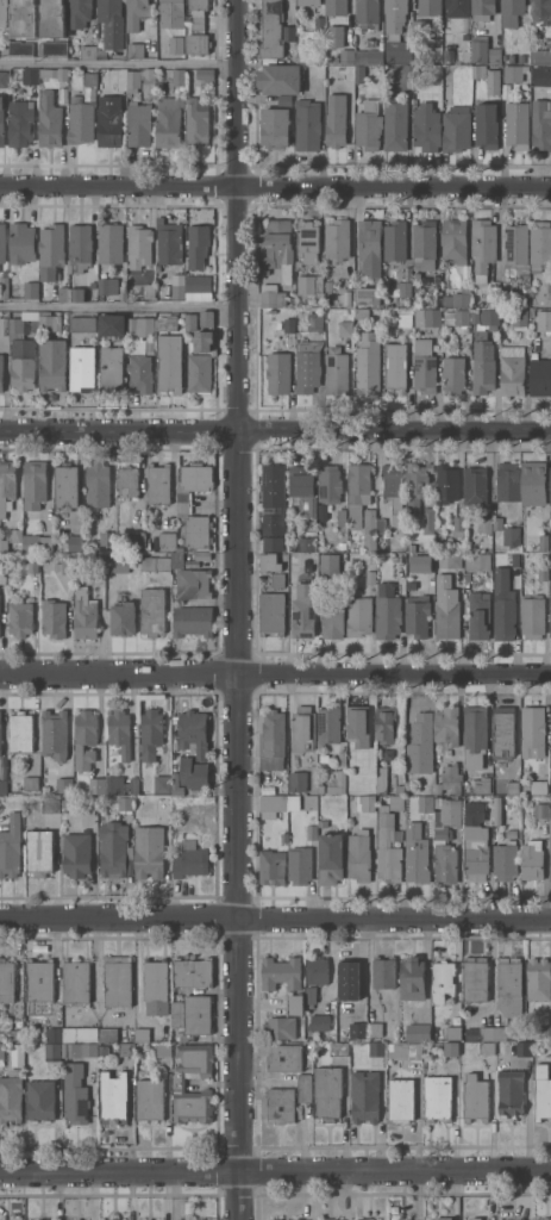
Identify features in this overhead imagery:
building: (309, 2)
building: (336, 6)
building: (430, 7)
building: (458, 7)
building: (483, 8)
building: (198, 11)
building: (540, 11)
building: (4, 12)
building: (512, 12)
building: (80, 13)
building: (137, 13)
building: (171, 13)
building: (368, 14)
building: (24, 18)
building: (52, 18)
building: (112, 23)
building: (320, 24)
building: (198, 26)
building: (271, 29)
building: (422, 29)
building: (396, 32)
building: (336, 36)
building: (199, 43)
building: (176, 45)
building: (20, 48)
building: (54, 48)
building: (480, 49)
building: (136, 50)
building: (89, 51)
building: (419, 52)
building: (101, 54)
building: (495, 55)
building: (347, 56)
building: (375, 56)
building: (449, 56)
building: (540, 56)
building: (513, 58)
road: (119, 66)
building: (478, 71)
building: (550, 71)
building: (54, 73)
building: (513, 73)
building: (31, 76)
building: (206, 76)
building: (179, 77)
building: (4, 79)
building: (281, 79)
building: (133, 81)
building: (494, 81)
building: (284, 100)
building: (83, 111)
building: (476, 114)
building: (50, 120)
building: (337, 120)
building: (1, 122)
building: (109, 122)
building: (169, 122)
building: (198, 122)
building: (21, 123)
building: (139, 124)
building: (307, 124)
building: (541, 124)
building: (395, 125)
building: (487, 125)
building: (518, 125)
building: (276, 127)
building: (427, 127)
building: (457, 127)
building: (368, 129)
road: (275, 187)
building: (308, 236)
building: (338, 238)
building: (395, 241)
building: (455, 241)
building: (2, 242)
building: (23, 242)
building: (111, 243)
building: (170, 243)
building: (425, 244)
building: (139, 245)
building: (198, 245)
building: (370, 245)
building: (516, 245)
building: (80, 247)
building: (483, 247)
building: (540, 247)
building: (278, 248)
building: (51, 251)
building: (418, 276)
building: (189, 284)
building: (93, 285)
building: (108, 286)
building: (328, 286)
building: (4, 287)
building: (130, 287)
building: (311, 287)
building: (549, 287)
building: (402, 288)
building: (31, 290)
building: (150, 290)
building: (63, 293)
building: (76, 294)
building: (271, 295)
building: (368, 295)
building: (494, 297)
building: (437, 298)
building: (458, 298)
building: (483, 304)
road: (119, 309)
building: (362, 312)
building: (533, 312)
building: (30, 316)
building: (457, 316)
building: (490, 316)
building: (375, 317)
building: (427, 317)
building: (476, 317)
building: (207, 318)
building: (518, 318)
building: (314, 319)
building: (405, 319)
building: (544, 320)
building: (52, 322)
building: (192, 322)
building: (168, 323)
building: (82, 324)
building: (5, 325)
building: (15, 325)
building: (112, 325)
building: (289, 325)
building: (142, 326)
building: (346, 328)
building: (204, 341)
building: (447, 344)
building: (24, 363)
building: (54, 363)
building: (170, 363)
building: (368, 363)
building: (483, 363)
building: (308, 366)
building: (395, 366)
building: (425, 366)
building: (112, 367)
building: (140, 367)
building: (82, 368)
building: (337, 371)
building: (513, 371)
building: (1, 373)
building: (200, 373)
building: (278, 373)
building: (453, 374)
building: (540, 376)
road: (275, 430)
building: (127, 481)
building: (509, 481)
building: (446, 483)
building: (534, 483)
building: (36, 484)
building: (98, 484)
building: (159, 484)
building: (193, 484)
building: (330, 484)
building: (418, 484)
building: (7, 485)
building: (67, 485)
building: (393, 486)
building: (476, 486)
building: (550, 486)
building: (358, 492)
building: (274, 499)
building: (121, 500)
building: (305, 503)
building: (342, 513)
building: (428, 521)
building: (497, 523)
building: (484, 524)
building: (381, 525)
building: (458, 527)
building: (370, 530)
building: (198, 531)
building: (14, 535)
building: (512, 535)
building: (107, 537)
building: (138, 539)
building: (165, 540)
building: (37, 542)
building: (76, 542)
building: (543, 542)
building: (273, 543)
building: (202, 555)
building: (514, 558)
building: (177, 560)
building: (452, 560)
building: (101, 561)
building: (478, 561)
building: (269, 562)
building: (421, 562)
building: (64, 564)
building: (156, 564)
building: (2, 565)
building: (118, 565)
building: (33, 566)
building: (330, 566)
building: (543, 573)
building: (371, 577)
building: (278, 579)
building: (194, 584)
building: (505, 605)
road: (239, 609)
building: (303, 610)
building: (152, 611)
building: (388, 611)
building: (273, 612)
building: (86, 614)
building: (480, 615)
building: (359, 616)
building: (418, 616)
building: (447, 616)
building: (124, 617)
building: (333, 617)
building: (533, 617)
building: (21, 618)
building: (55, 618)
building: (193, 621)
road: (275, 676)
building: (387, 723)
building: (330, 724)
building: (447, 724)
building: (359, 726)
building: (303, 729)
building: (533, 729)
building: (21, 732)
building: (55, 732)
building: (120, 732)
building: (194, 732)
building: (505, 732)
building: (151, 733)
building: (0, 734)
building: (273, 734)
building: (476, 736)
building: (86, 737)
building: (421, 743)
building: (388, 753)
building: (343, 758)
building: (195, 773)
building: (337, 779)
building: (382, 779)
building: (451, 779)
building: (299, 780)
building: (31, 783)
building: (115, 784)
building: (64, 785)
building: (134, 785)
building: (163, 785)
building: (177, 785)
building: (482, 785)
building: (4, 786)
building: (98, 786)
building: (539, 786)
building: (511, 788)
building: (321, 789)
building: (400, 789)
building: (409, 797)
building: (397, 802)
building: (126, 803)
building: (368, 803)
building: (426, 803)
building: (273, 804)
building: (51, 805)
building: (497, 810)
building: (541, 810)
building: (475, 813)
building: (324, 823)
building: (313, 833)
building: (512, 833)
building: (284, 836)
building: (446, 840)
building: (11, 846)
building: (388, 847)
building: (114, 848)
building: (40, 852)
building: (150, 852)
building: (476, 853)
building: (77, 854)
building: (361, 857)
building: (331, 858)
building: (190, 859)
building: (506, 860)
building: (533, 860)
building: (418, 861)
building: (550, 861)
building: (300, 865)
building: (273, 866)
road: (275, 920)
building: (318, 971)
building: (193, 972)
building: (281, 972)
building: (384, 972)
building: (413, 978)
building: (476, 978)
building: (156, 979)
building: (350, 979)
building: (539, 979)
building: (6, 981)
building: (76, 981)
building: (118, 981)
building: (443, 981)
building: (40, 985)
building: (511, 986)
building: (311, 995)
building: (295, 1004)
building: (311, 1006)
building: (177, 1014)
building: (198, 1014)
building: (319, 1022)
building: (281, 1027)
building: (376, 1028)
building: (358, 1029)
building: (419, 1032)
building: (453, 1032)
building: (543, 1032)
building: (80, 1033)
building: (487, 1033)
building: (501, 1033)
building: (54, 1034)
building: (108, 1034)
building: (143, 1034)
building: (14, 1035)
building: (21, 1045)
building: (318, 1047)
building: (104, 1048)
building: (126, 1048)
building: (339, 1048)
building: (377, 1048)
building: (451, 1048)
building: (487, 1048)
building: (524, 1048)
building: (80, 1050)
building: (163, 1050)
building: (405, 1050)
building: (2, 1051)
building: (52, 1052)
building: (15, 1058)
building: (284, 1058)
building: (179, 1083)
building: (303, 1087)
building: (543, 1091)
building: (328, 1093)
building: (511, 1093)
building: (75, 1094)
building: (365, 1096)
building: (114, 1097)
building: (438, 1097)
building: (476, 1097)
building: (401, 1098)
building: (11, 1100)
building: (40, 1100)
building: (150, 1100)
building: (282, 1104)
road: (275, 1170)
building: (443, 1218)
building: (79, 1219)
building: (114, 1219)
building: (150, 1219)
building: (182, 1219)
building: (204, 1219)
building: (277, 1219)
building: (298, 1219)
building: (331, 1219)
building: (368, 1219)
building: (403, 1219)
building: (472, 1219)
building: (514, 1219)
building: (521, 1219)
building: (547, 1219)

